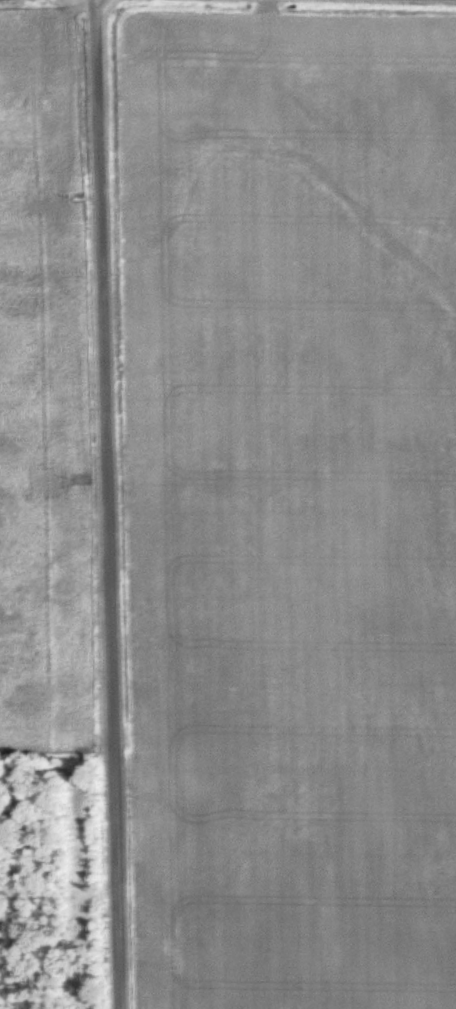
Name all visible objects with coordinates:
road: (105, 504)

